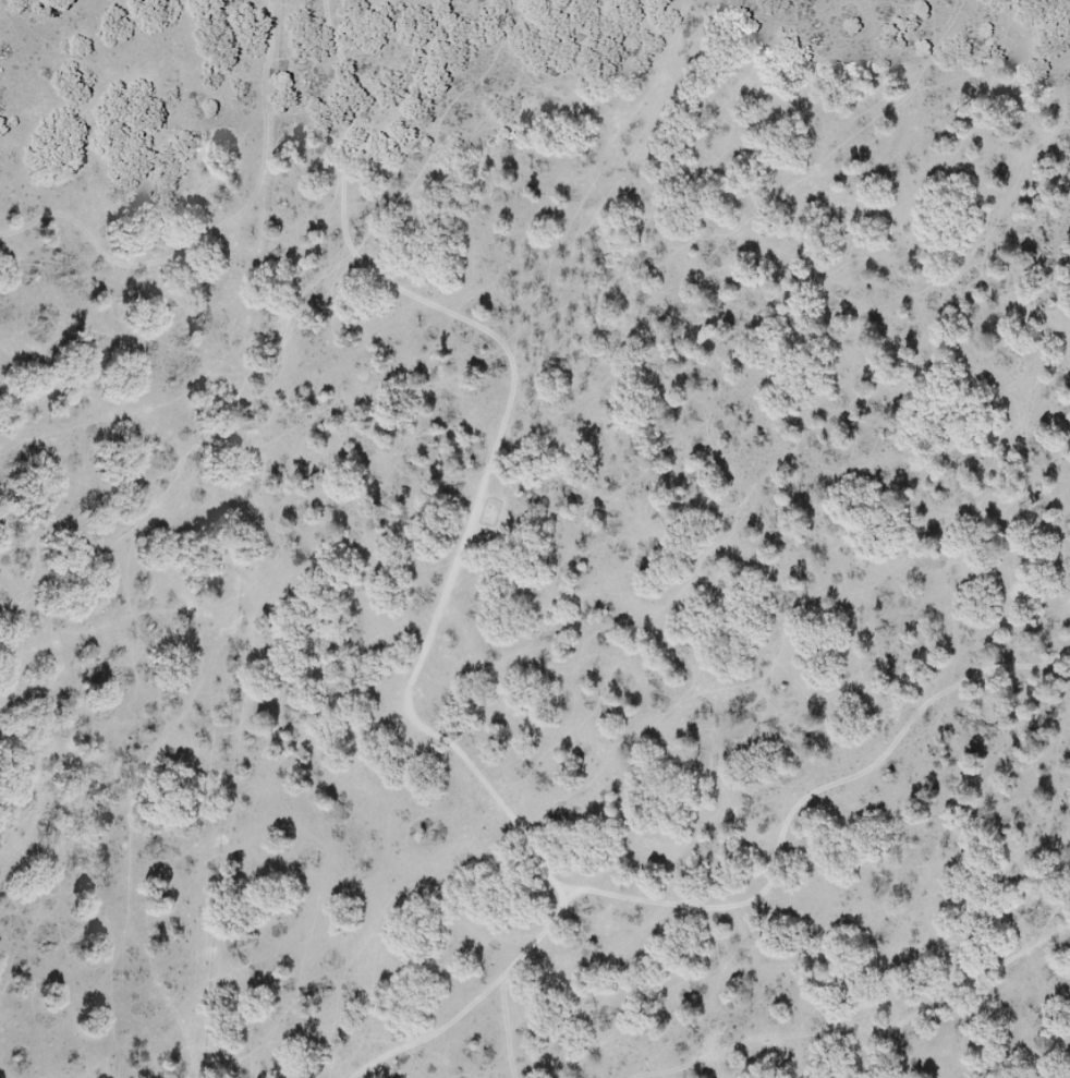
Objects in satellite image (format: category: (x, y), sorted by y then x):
road: (218, 663)

